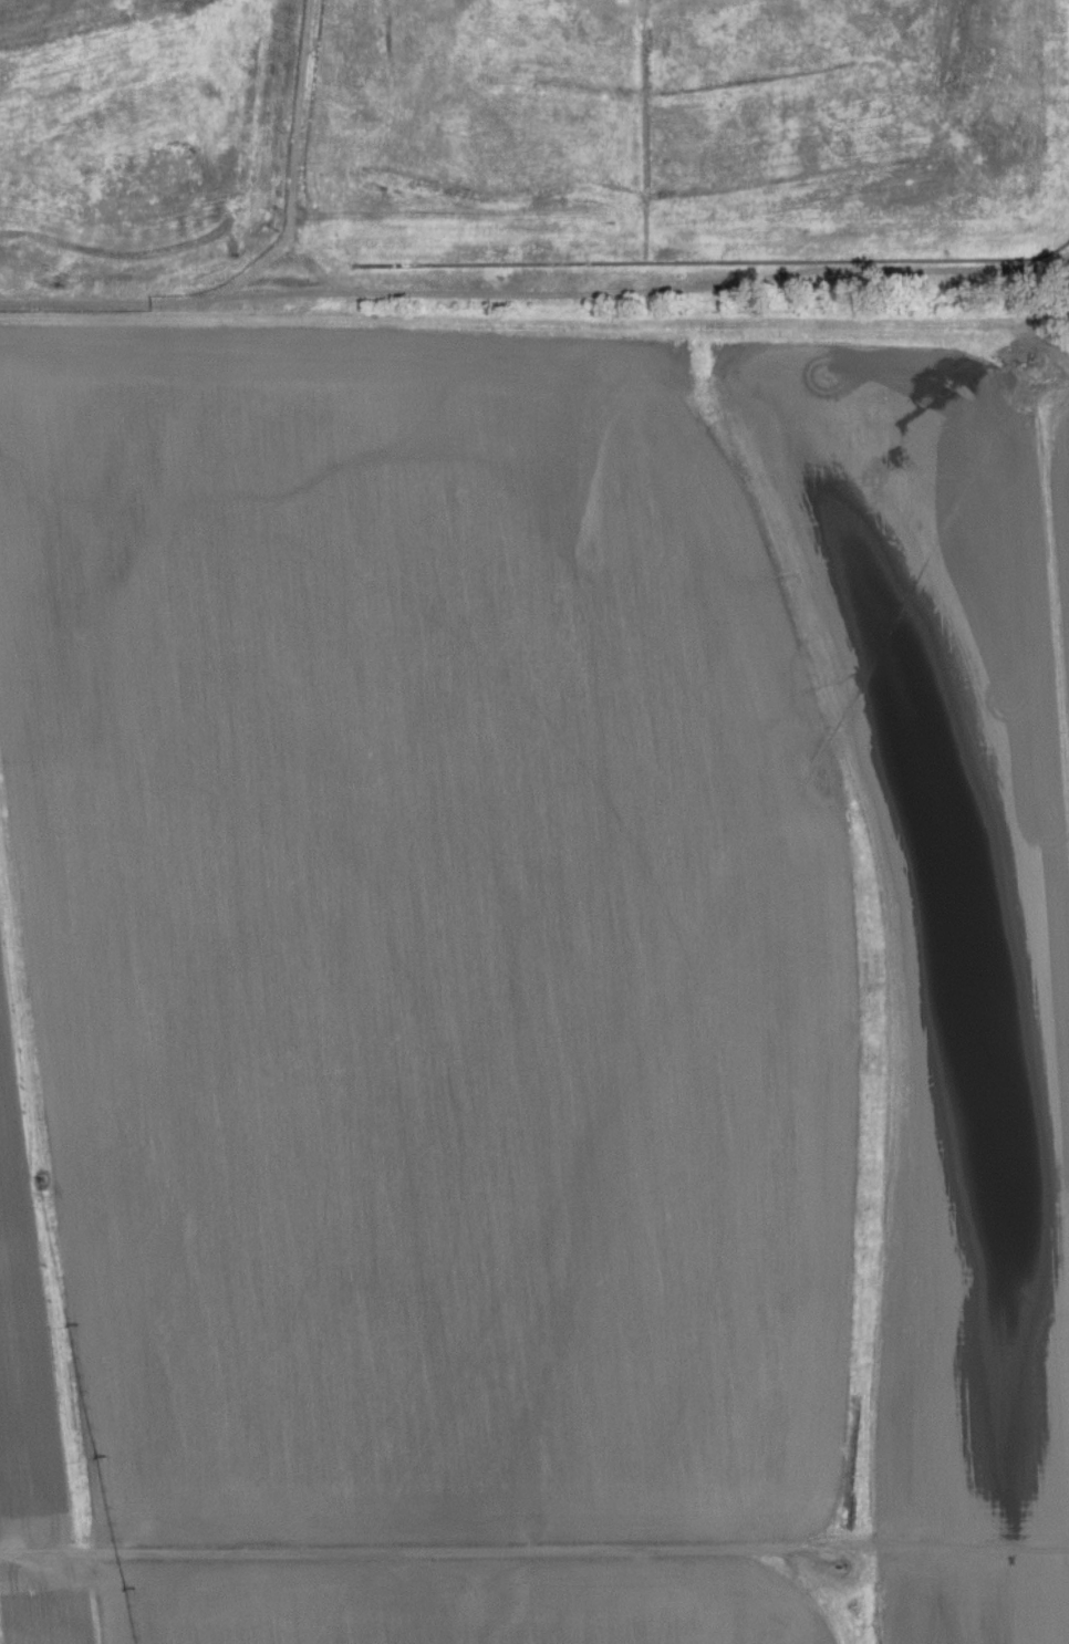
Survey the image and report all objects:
road: (392, 1551)

